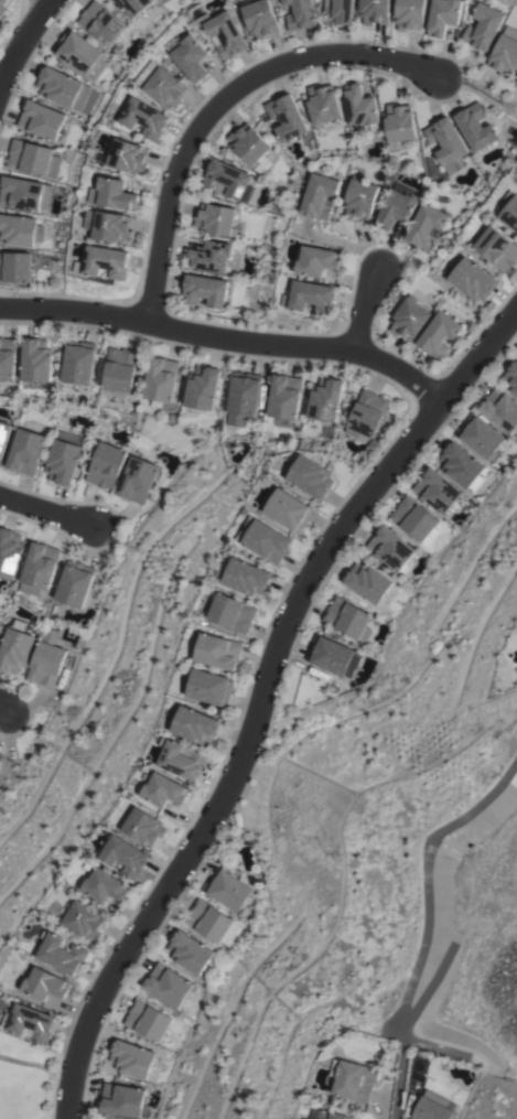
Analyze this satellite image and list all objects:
road: (52, 1)
building: (164, 1)
building: (133, 6)
building: (2, 7)
building: (337, 11)
building: (373, 11)
building: (408, 13)
building: (300, 14)
building: (442, 15)
building: (259, 18)
building: (101, 22)
building: (483, 26)
building: (225, 34)
road: (22, 43)
building: (79, 53)
building: (189, 55)
building: (504, 55)
building: (516, 82)
building: (160, 84)
building: (62, 87)
road: (215, 101)
building: (322, 104)
building: (360, 107)
building: (286, 116)
building: (143, 118)
building: (40, 119)
building: (398, 126)
building: (474, 126)
building: (445, 142)
building: (249, 147)
building: (126, 155)
building: (31, 158)
building: (228, 179)
building: (24, 193)
building: (112, 193)
building: (319, 195)
building: (359, 197)
building: (395, 208)
building: (509, 211)
building: (214, 218)
building: (110, 226)
building: (426, 226)
building: (19, 229)
building: (496, 248)
building: (209, 256)
building: (316, 260)
building: (105, 261)
building: (14, 266)
building: (472, 279)
building: (204, 290)
building: (309, 297)
road: (362, 302)
building: (408, 318)
building: (438, 334)
road: (225, 336)
building: (7, 357)
building: (35, 359)
building: (78, 362)
building: (120, 369)
building: (511, 377)
building: (160, 379)
building: (202, 387)
building: (243, 397)
building: (325, 398)
building: (283, 399)
building: (500, 409)
building: (366, 413)
building: (3, 434)
building: (481, 435)
building: (25, 451)
building: (62, 461)
building: (105, 464)
building: (459, 464)
building: (311, 476)
building: (136, 480)
building: (437, 489)
building: (288, 508)
road: (47, 514)
building: (414, 519)
building: (265, 539)
building: (391, 548)
building: (9, 552)
building: (39, 568)
building: (247, 577)
building: (367, 581)
building: (74, 583)
building: (231, 612)
building: (346, 616)
building: (15, 646)
building: (219, 650)
building: (328, 654)
building: (45, 664)
building: (351, 665)
building: (209, 686)
road: (265, 701)
road: (1, 710)
building: (195, 724)
building: (0, 753)
building: (0, 755)
building: (182, 758)
building: (164, 789)
building: (144, 826)
building: (125, 854)
building: (105, 885)
building: (228, 887)
building: (83, 919)
building: (211, 922)
building: (189, 951)
building: (62, 954)
building: (44, 983)
building: (168, 984)
building: (147, 1019)
building: (29, 1021)
building: (130, 1057)
road: (28, 1063)
park: (22, 1078)
building: (353, 1079)
building: (121, 1099)
building: (432, 1107)
building: (327, 1115)

